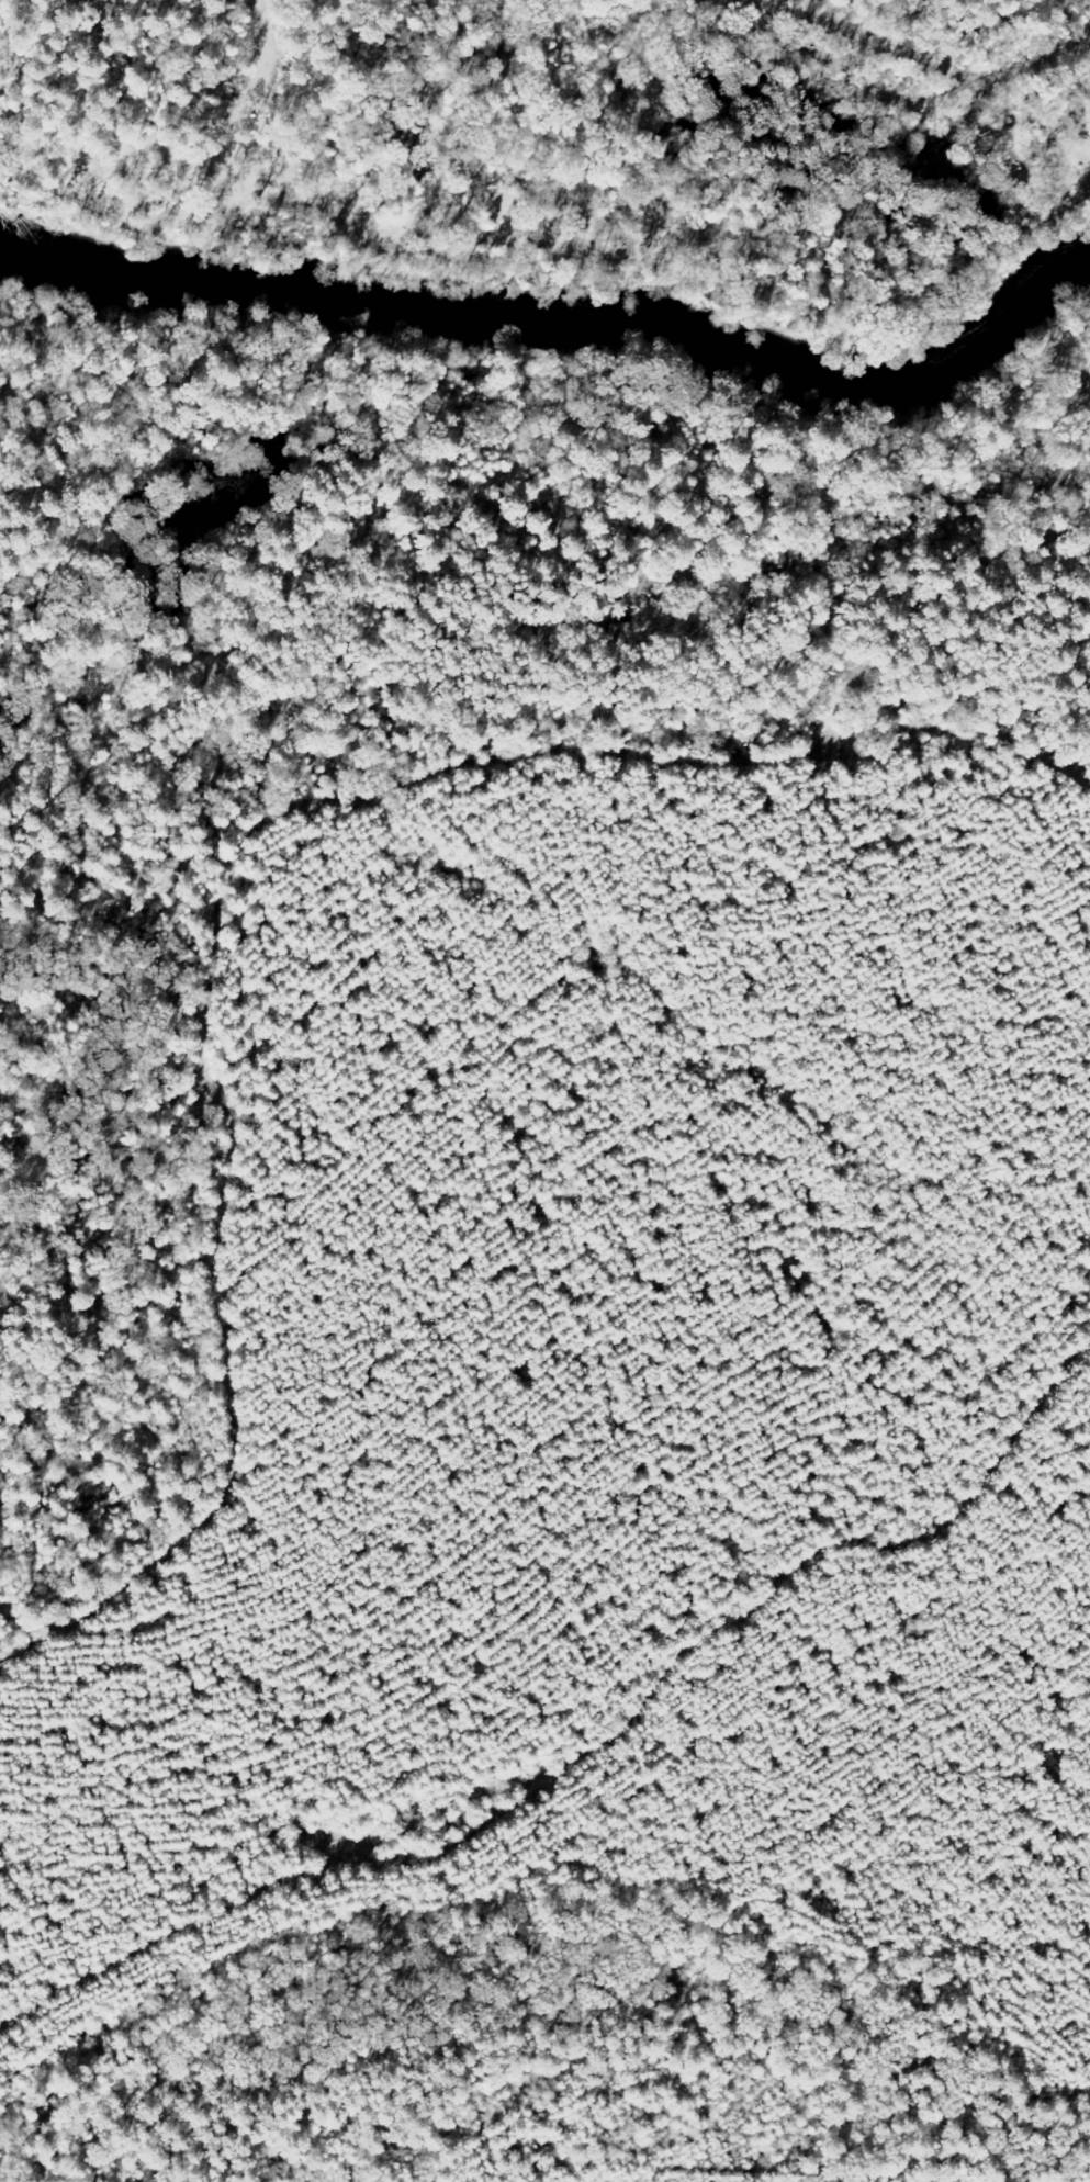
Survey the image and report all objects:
road: (912, 89)
river: (570, 318)

